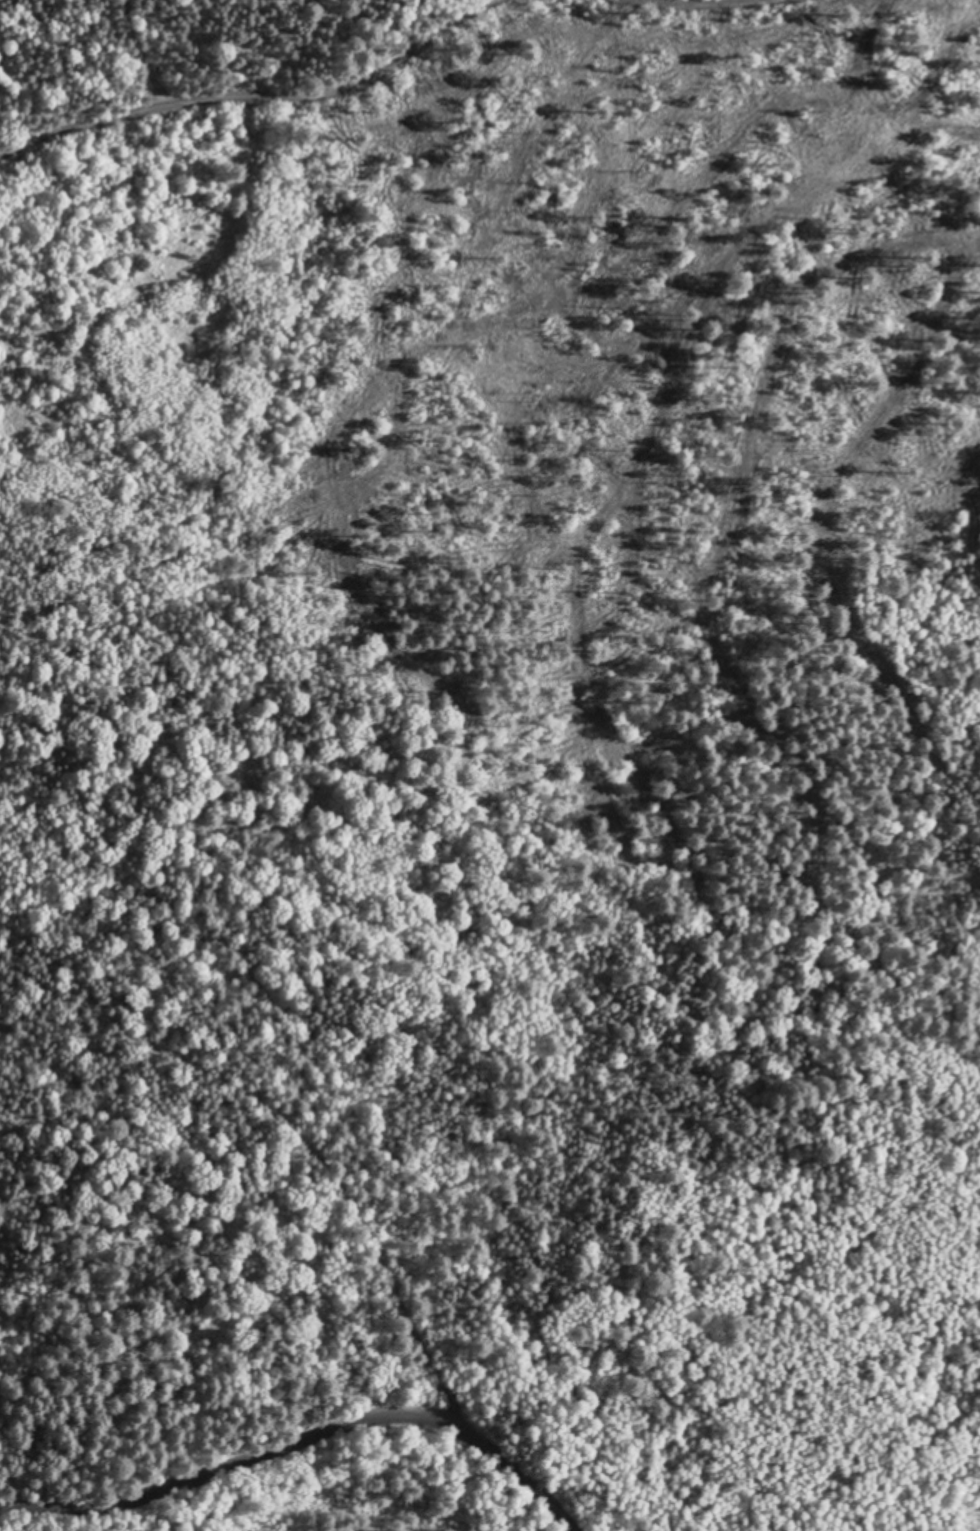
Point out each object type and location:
road: (190, 79)
road: (588, 435)
road: (341, 1410)

